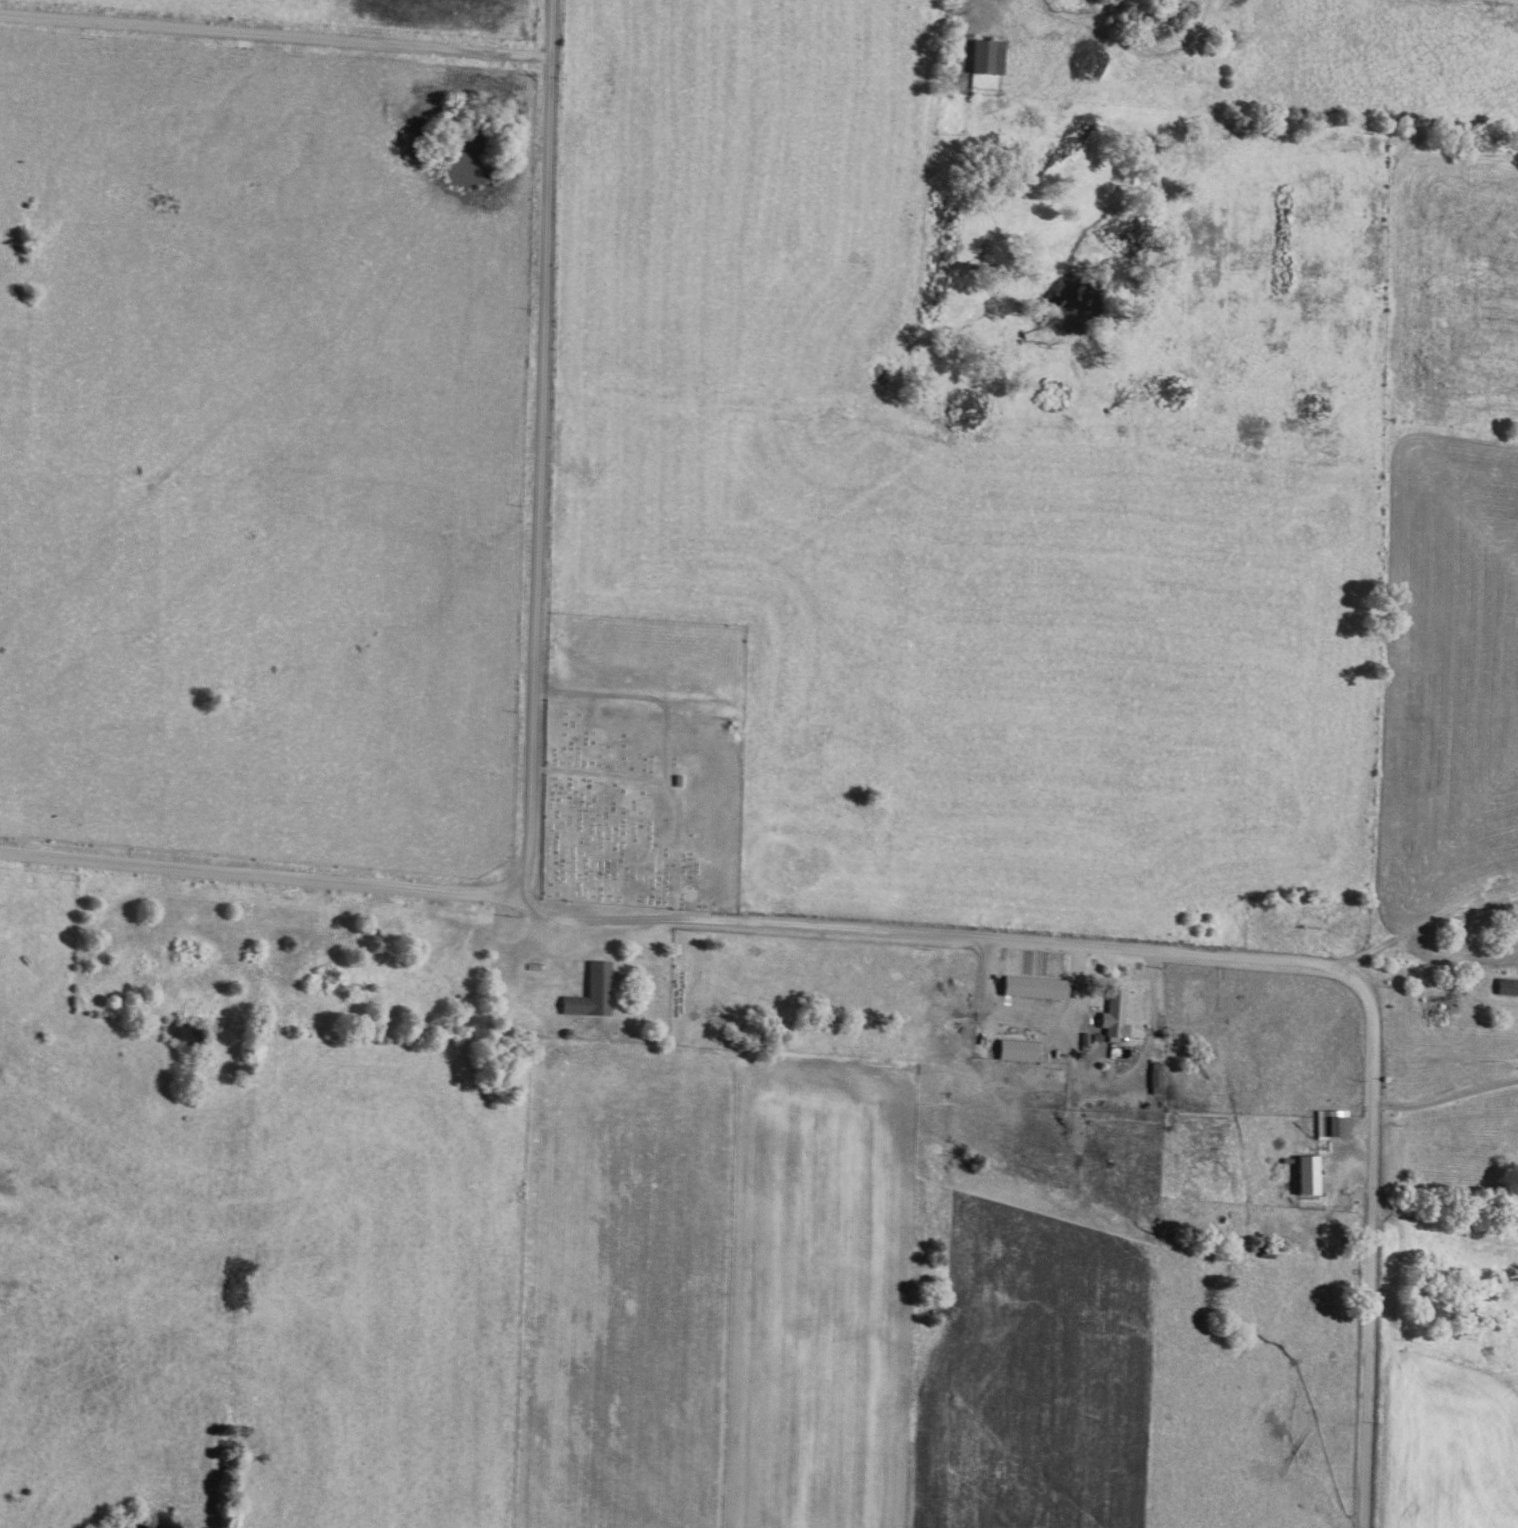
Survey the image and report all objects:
road: (274, 35)
building: (985, 56)
road: (540, 452)
road: (263, 876)
road: (1217, 957)
building: (1506, 987)
building: (590, 993)
building: (1113, 1017)
building: (1017, 1050)
building: (1155, 1078)
building: (1331, 1123)
building: (1307, 1176)

